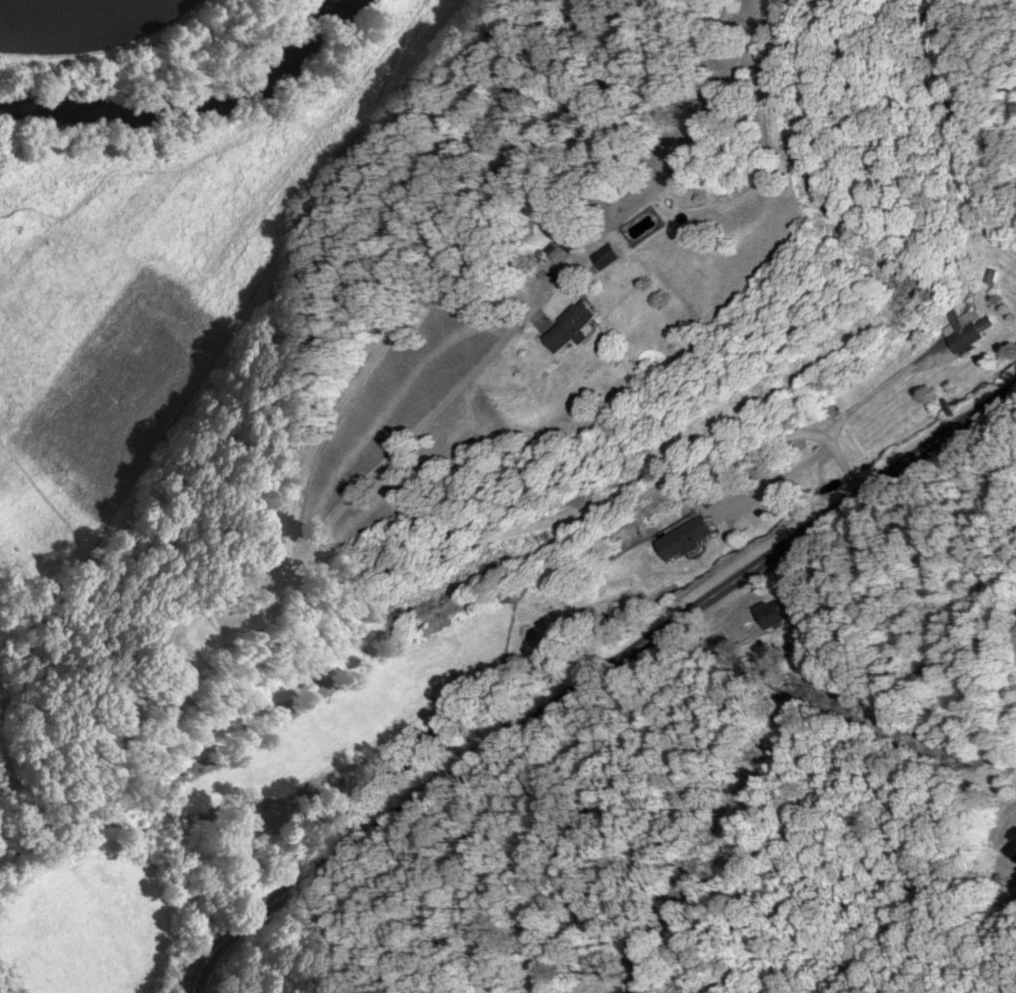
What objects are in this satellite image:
river: (187, 100)
building: (567, 246)
building: (608, 257)
building: (572, 327)
building: (967, 331)
road: (357, 374)
building: (686, 538)
road: (332, 594)
building: (772, 614)
road: (589, 679)
building: (1012, 849)

